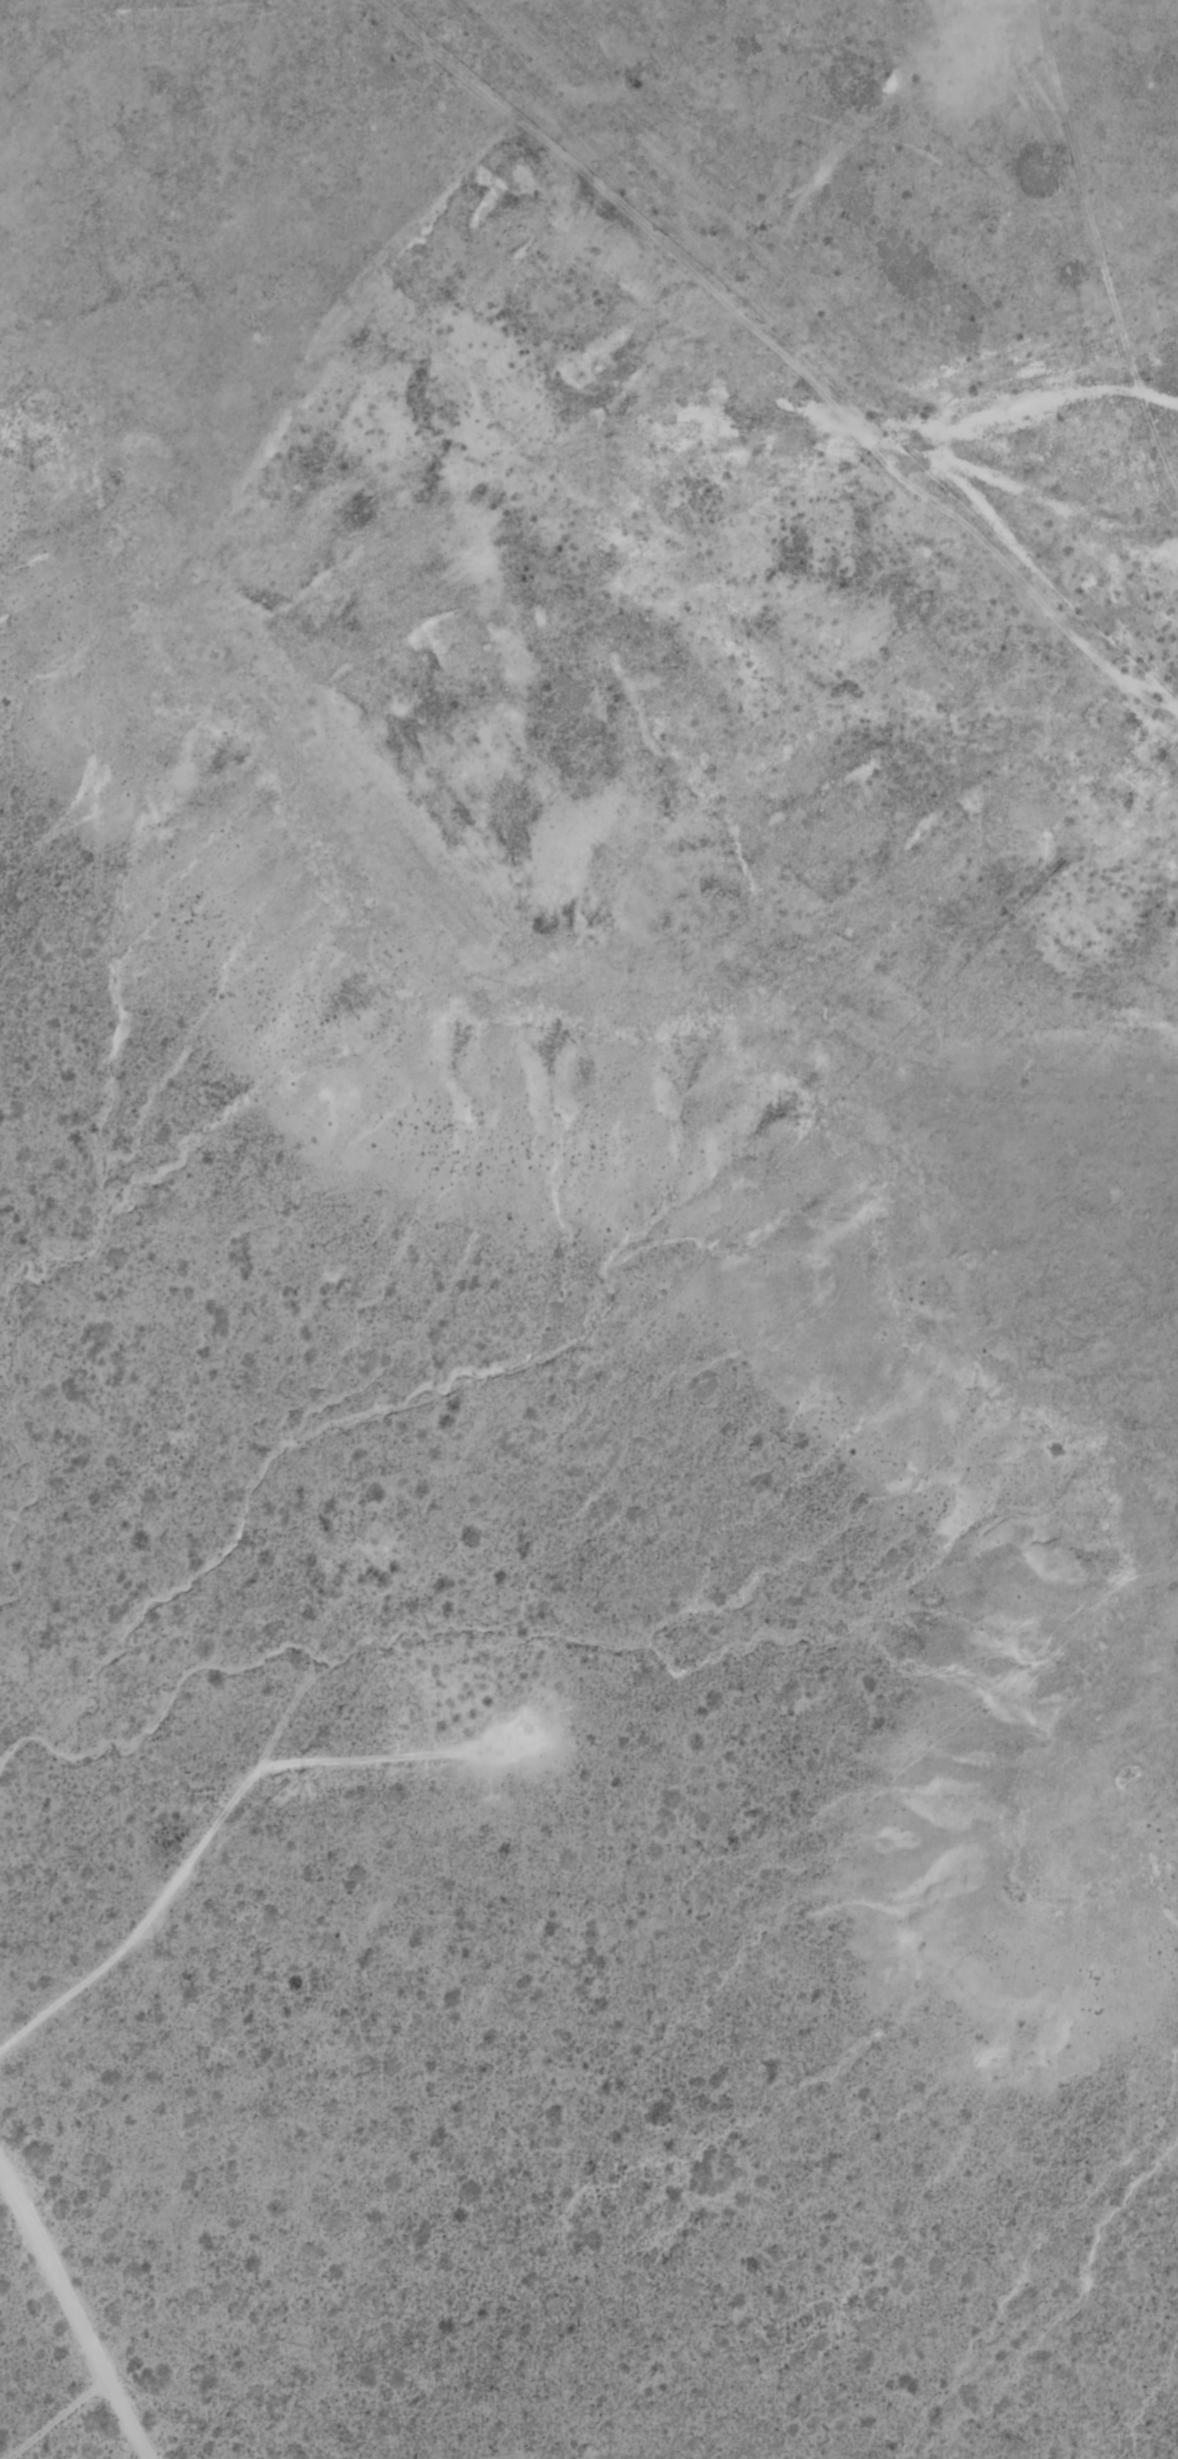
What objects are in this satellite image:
road: (166, 1893)
road: (76, 2313)

